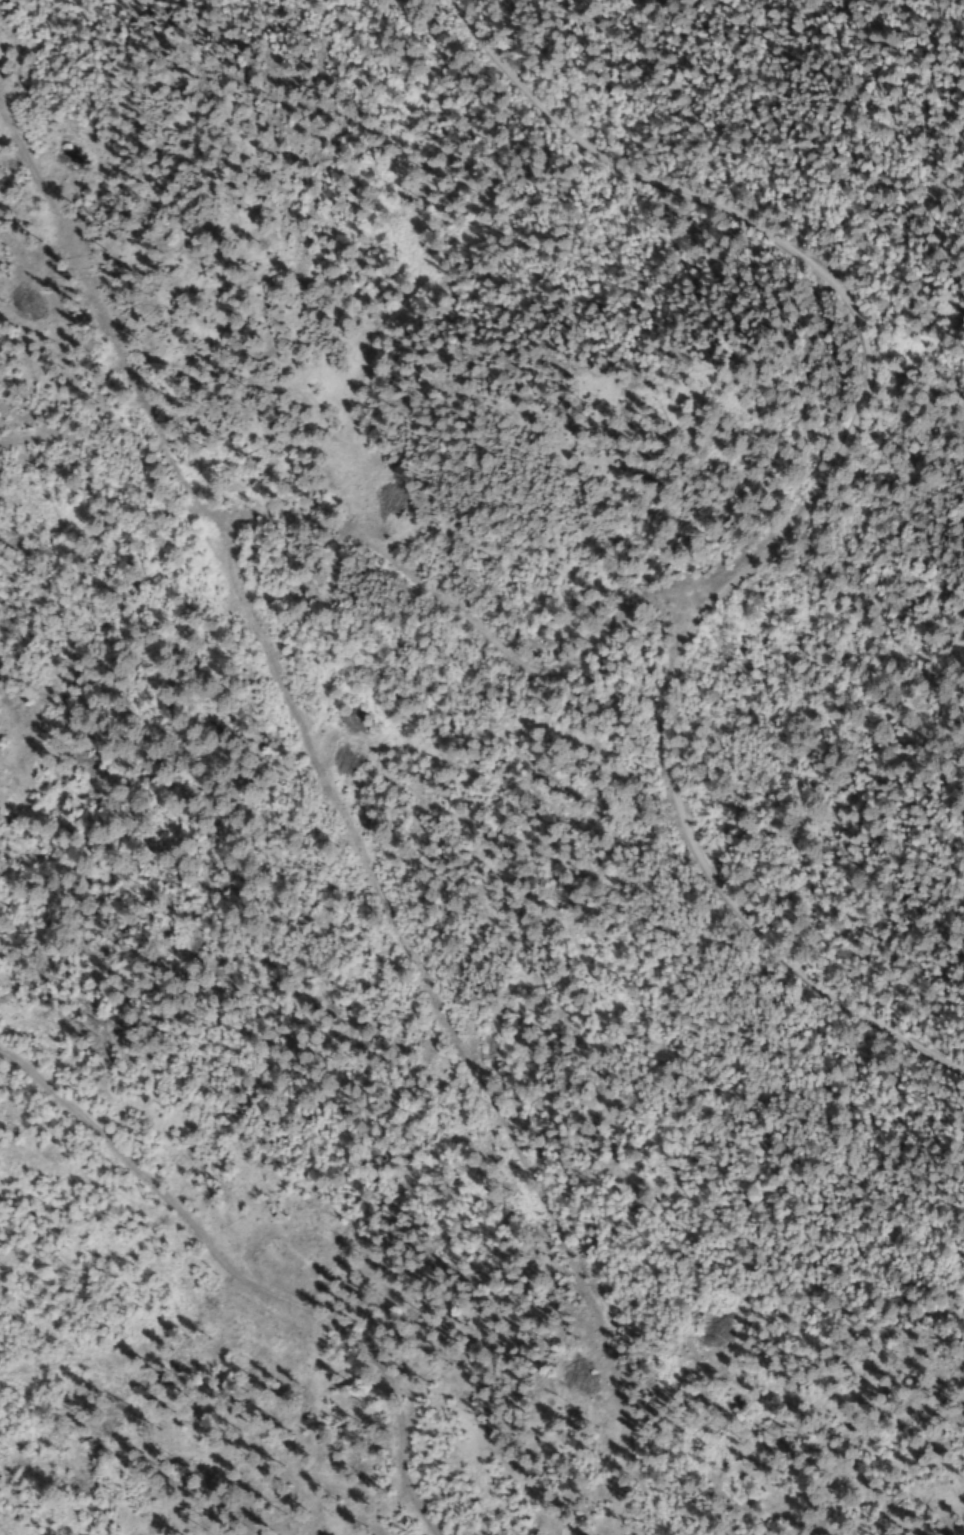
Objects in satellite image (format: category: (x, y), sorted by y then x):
road: (797, 516)
road: (245, 1287)

